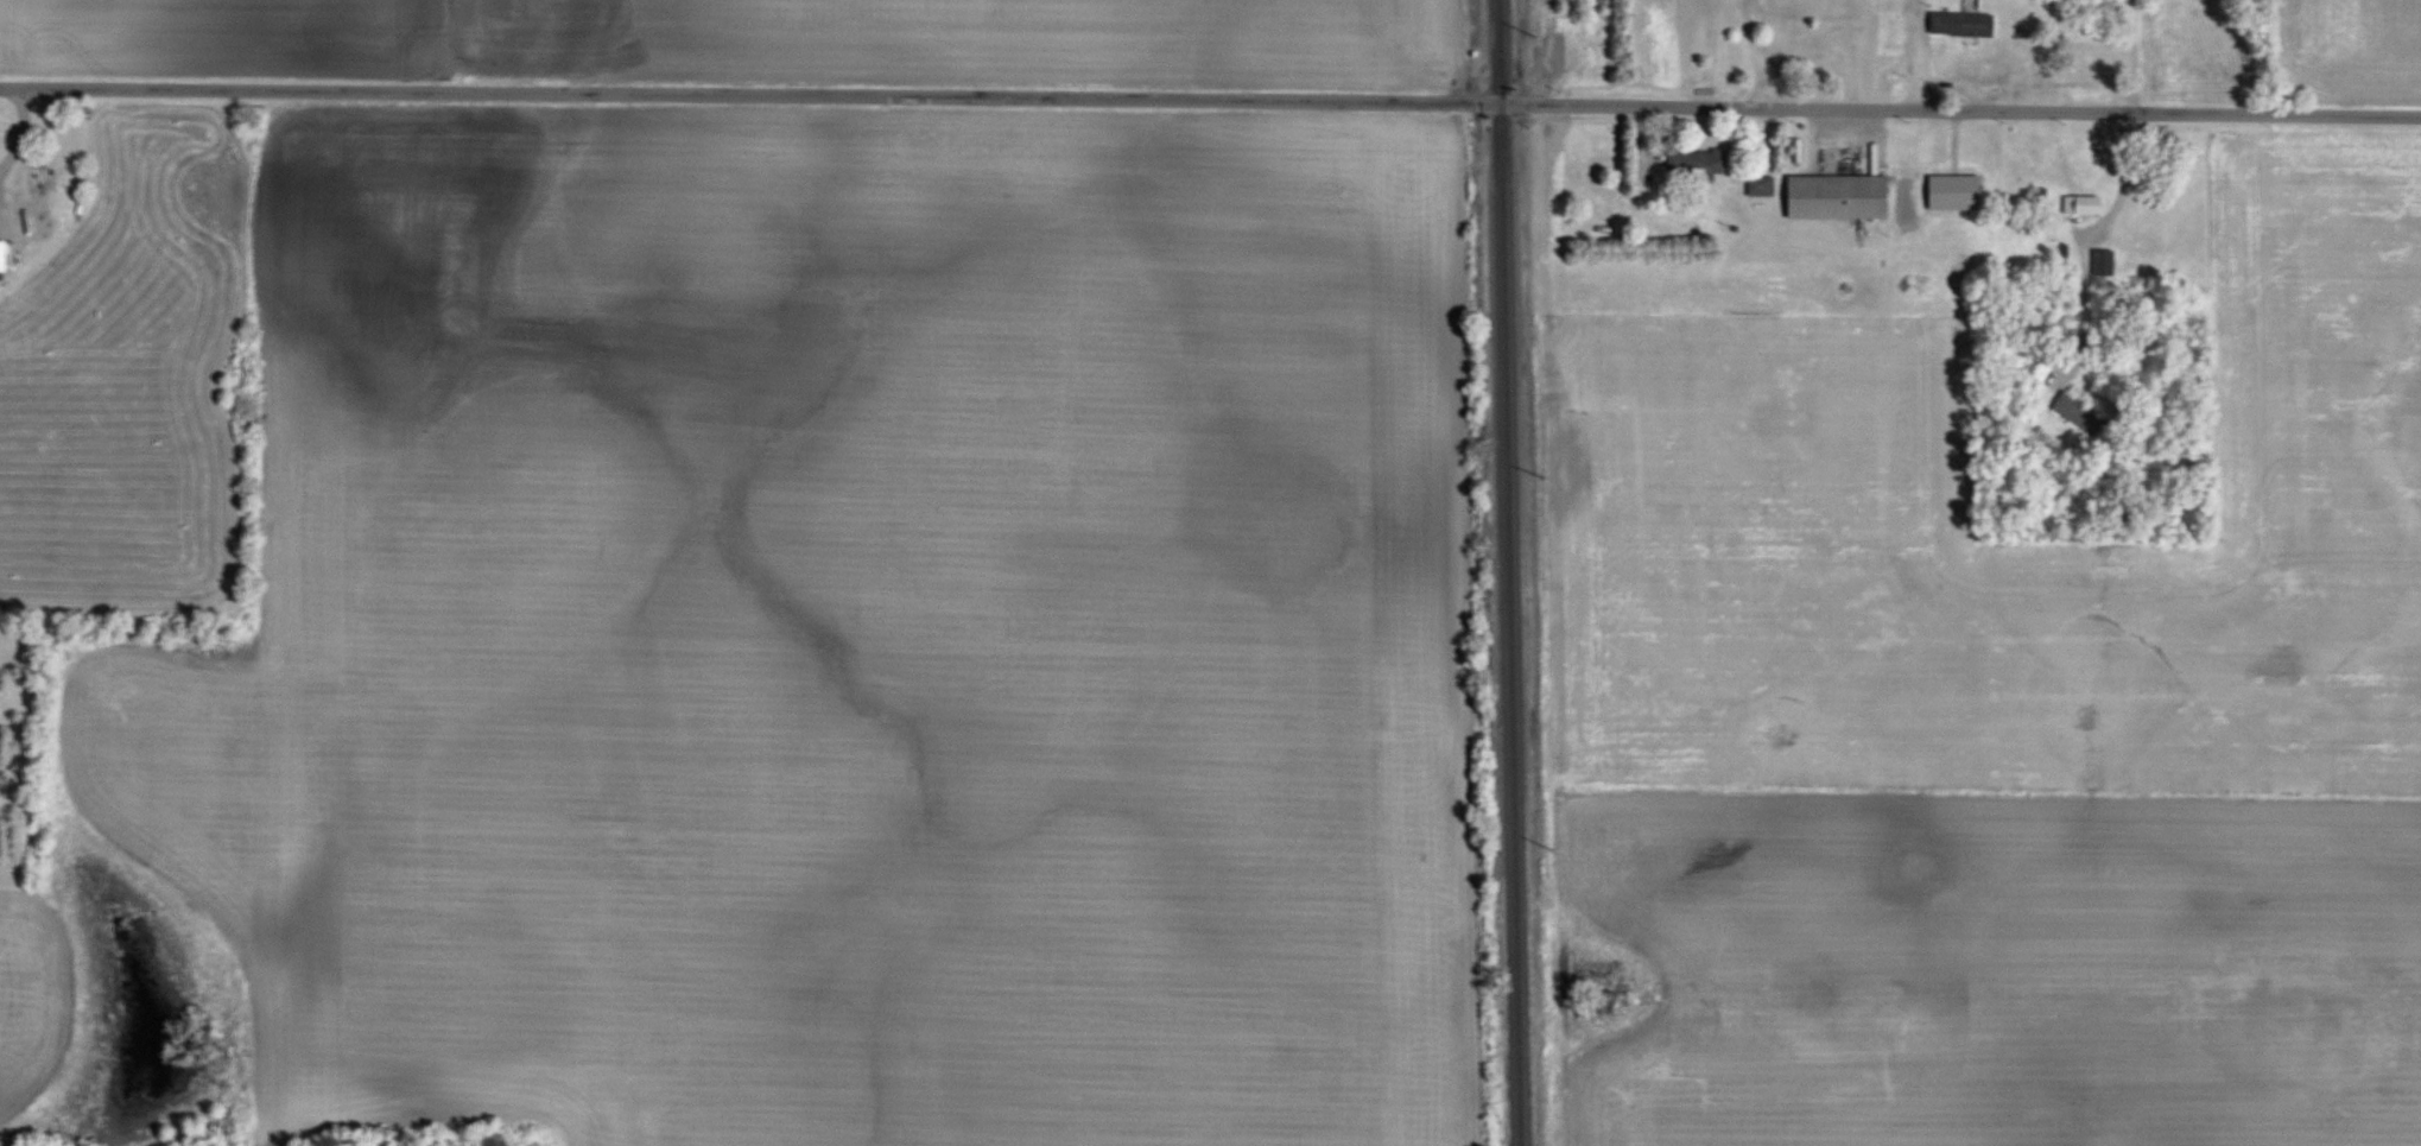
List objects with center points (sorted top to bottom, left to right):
building: (1961, 24)
road: (1741, 55)
road: (2134, 55)
road: (1210, 103)
building: (1697, 162)
road: (2122, 179)
building: (42, 181)
building: (1953, 192)
building: (1836, 196)
building: (2081, 204)
building: (5, 215)
building: (2089, 412)
railway: (1509, 572)

